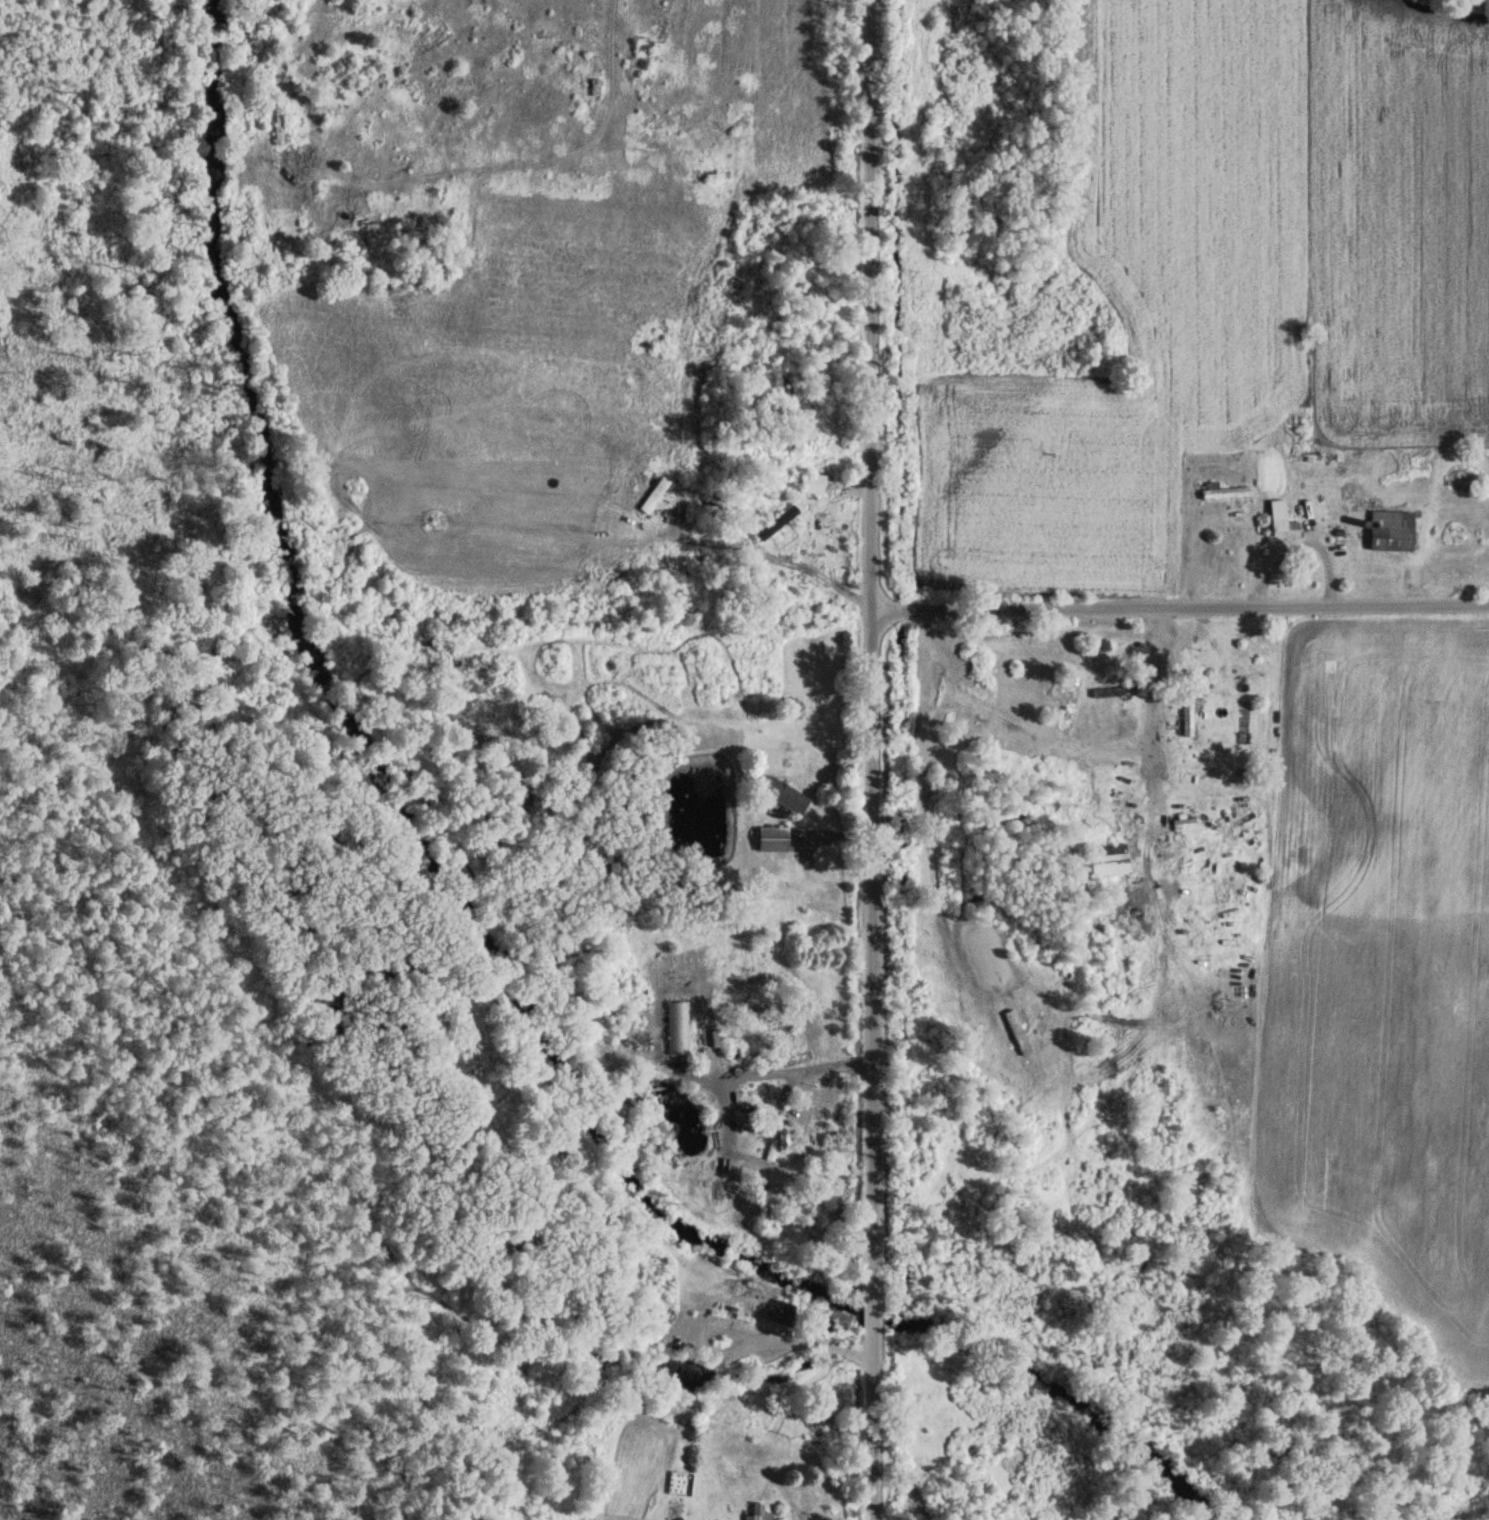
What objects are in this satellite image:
building: (275, 130)
building: (811, 484)
building: (1225, 494)
building: (1282, 522)
building: (777, 524)
building: (1392, 532)
road: (1180, 601)
building: (1107, 697)
building: (1189, 713)
road: (1146, 737)
road: (872, 759)
building: (784, 796)
building: (772, 841)
building: (1108, 861)
building: (677, 1029)
road: (794, 1071)
building: (770, 1151)
building: (758, 1512)

